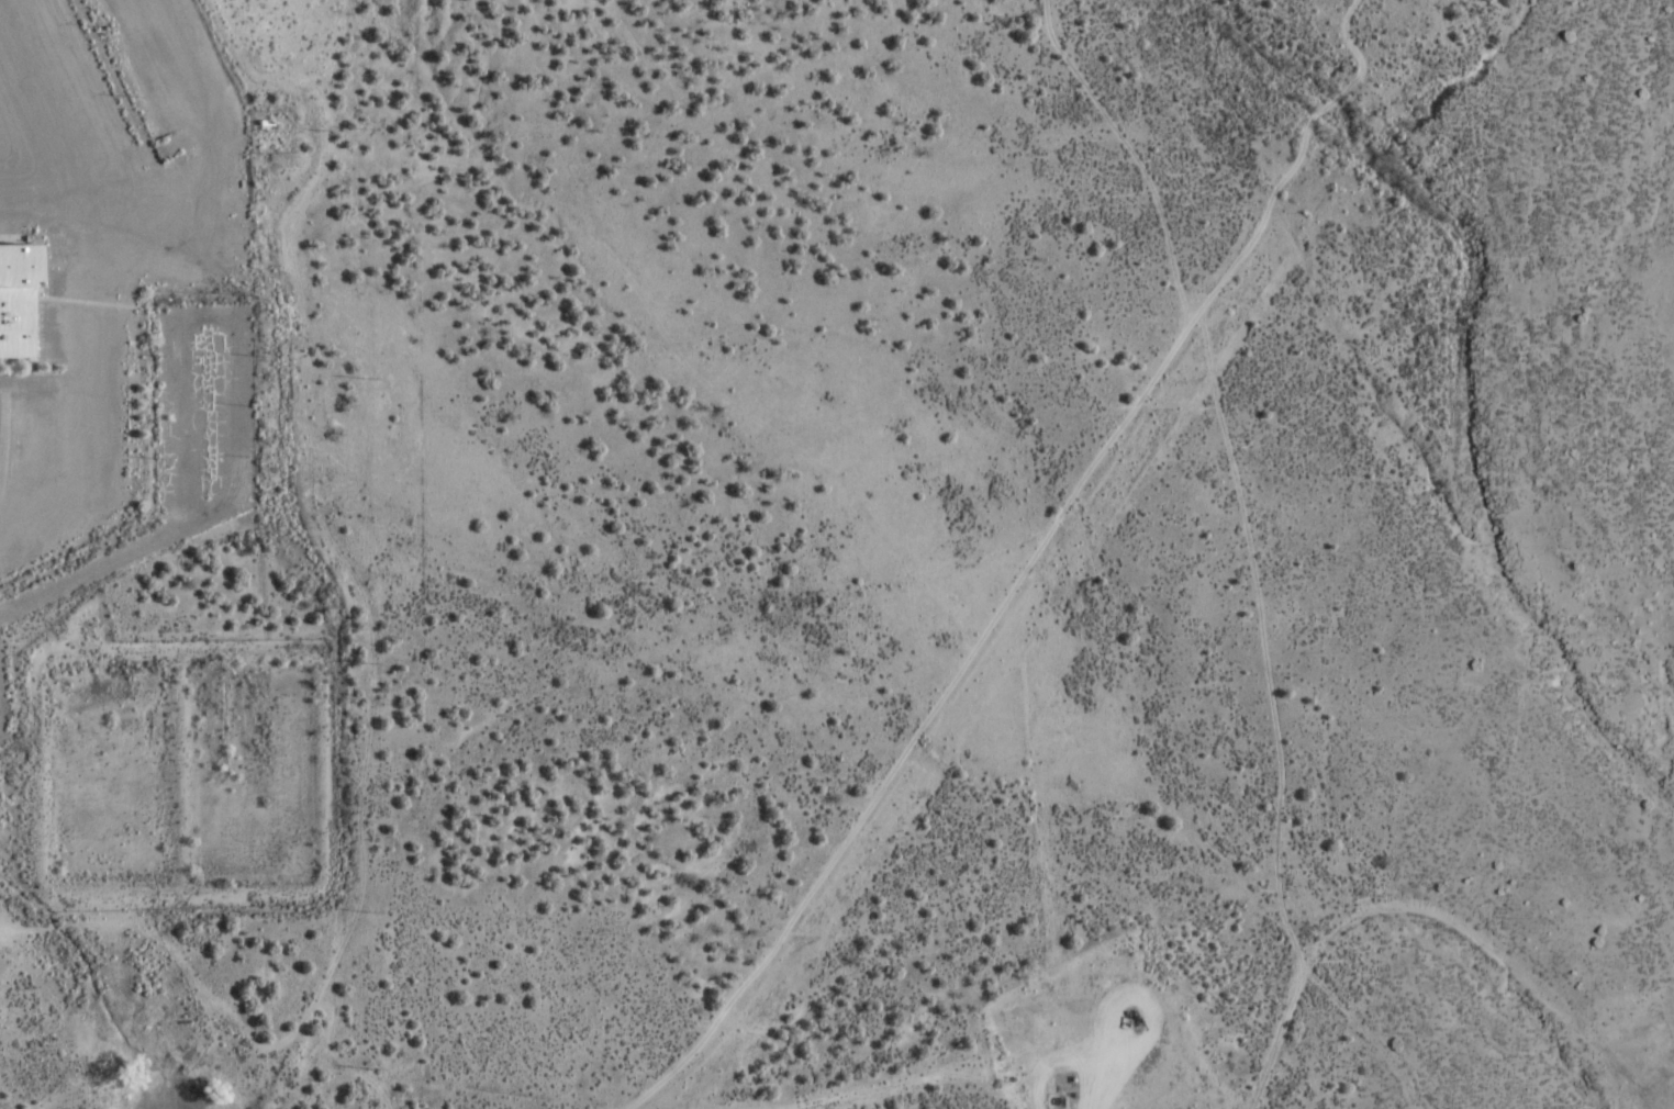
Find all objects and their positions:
building: (9, 302)
road: (1380, 903)

